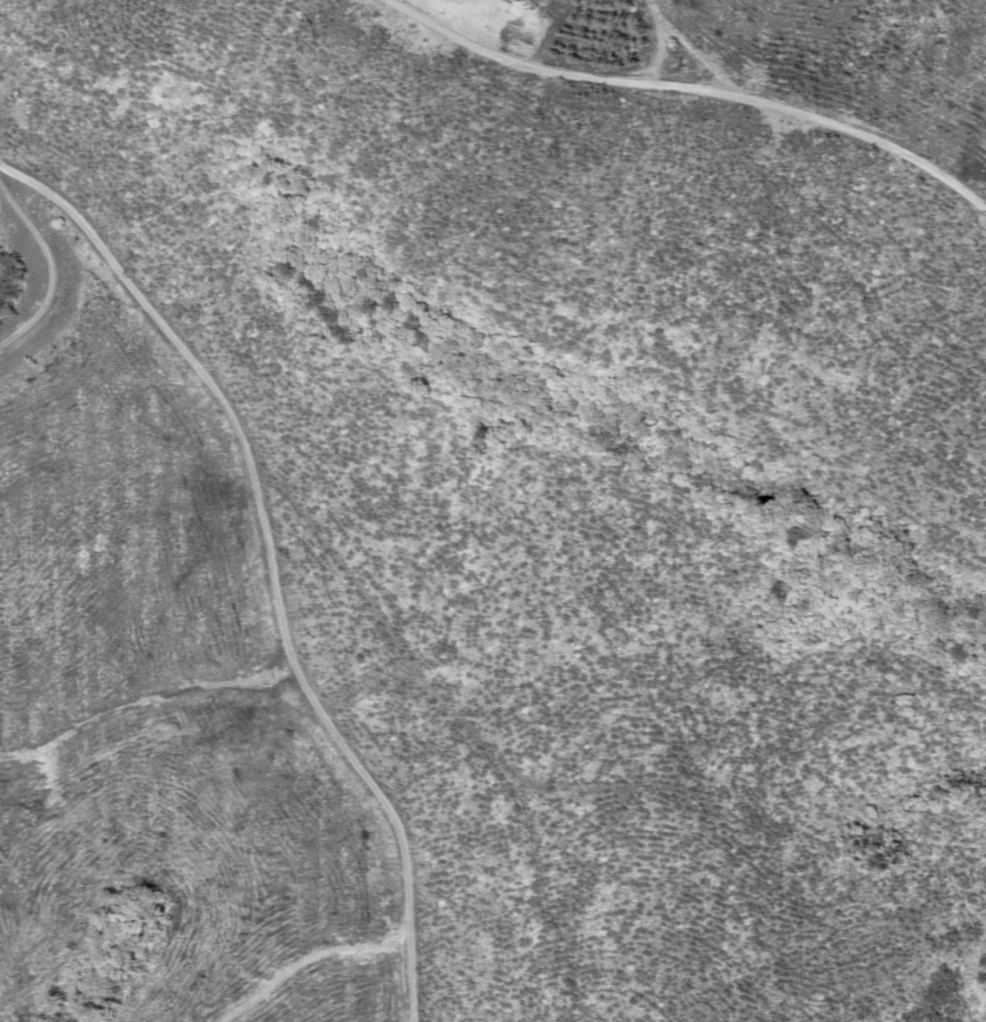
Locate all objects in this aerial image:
road: (698, 84)
road: (6, 174)
road: (270, 569)

